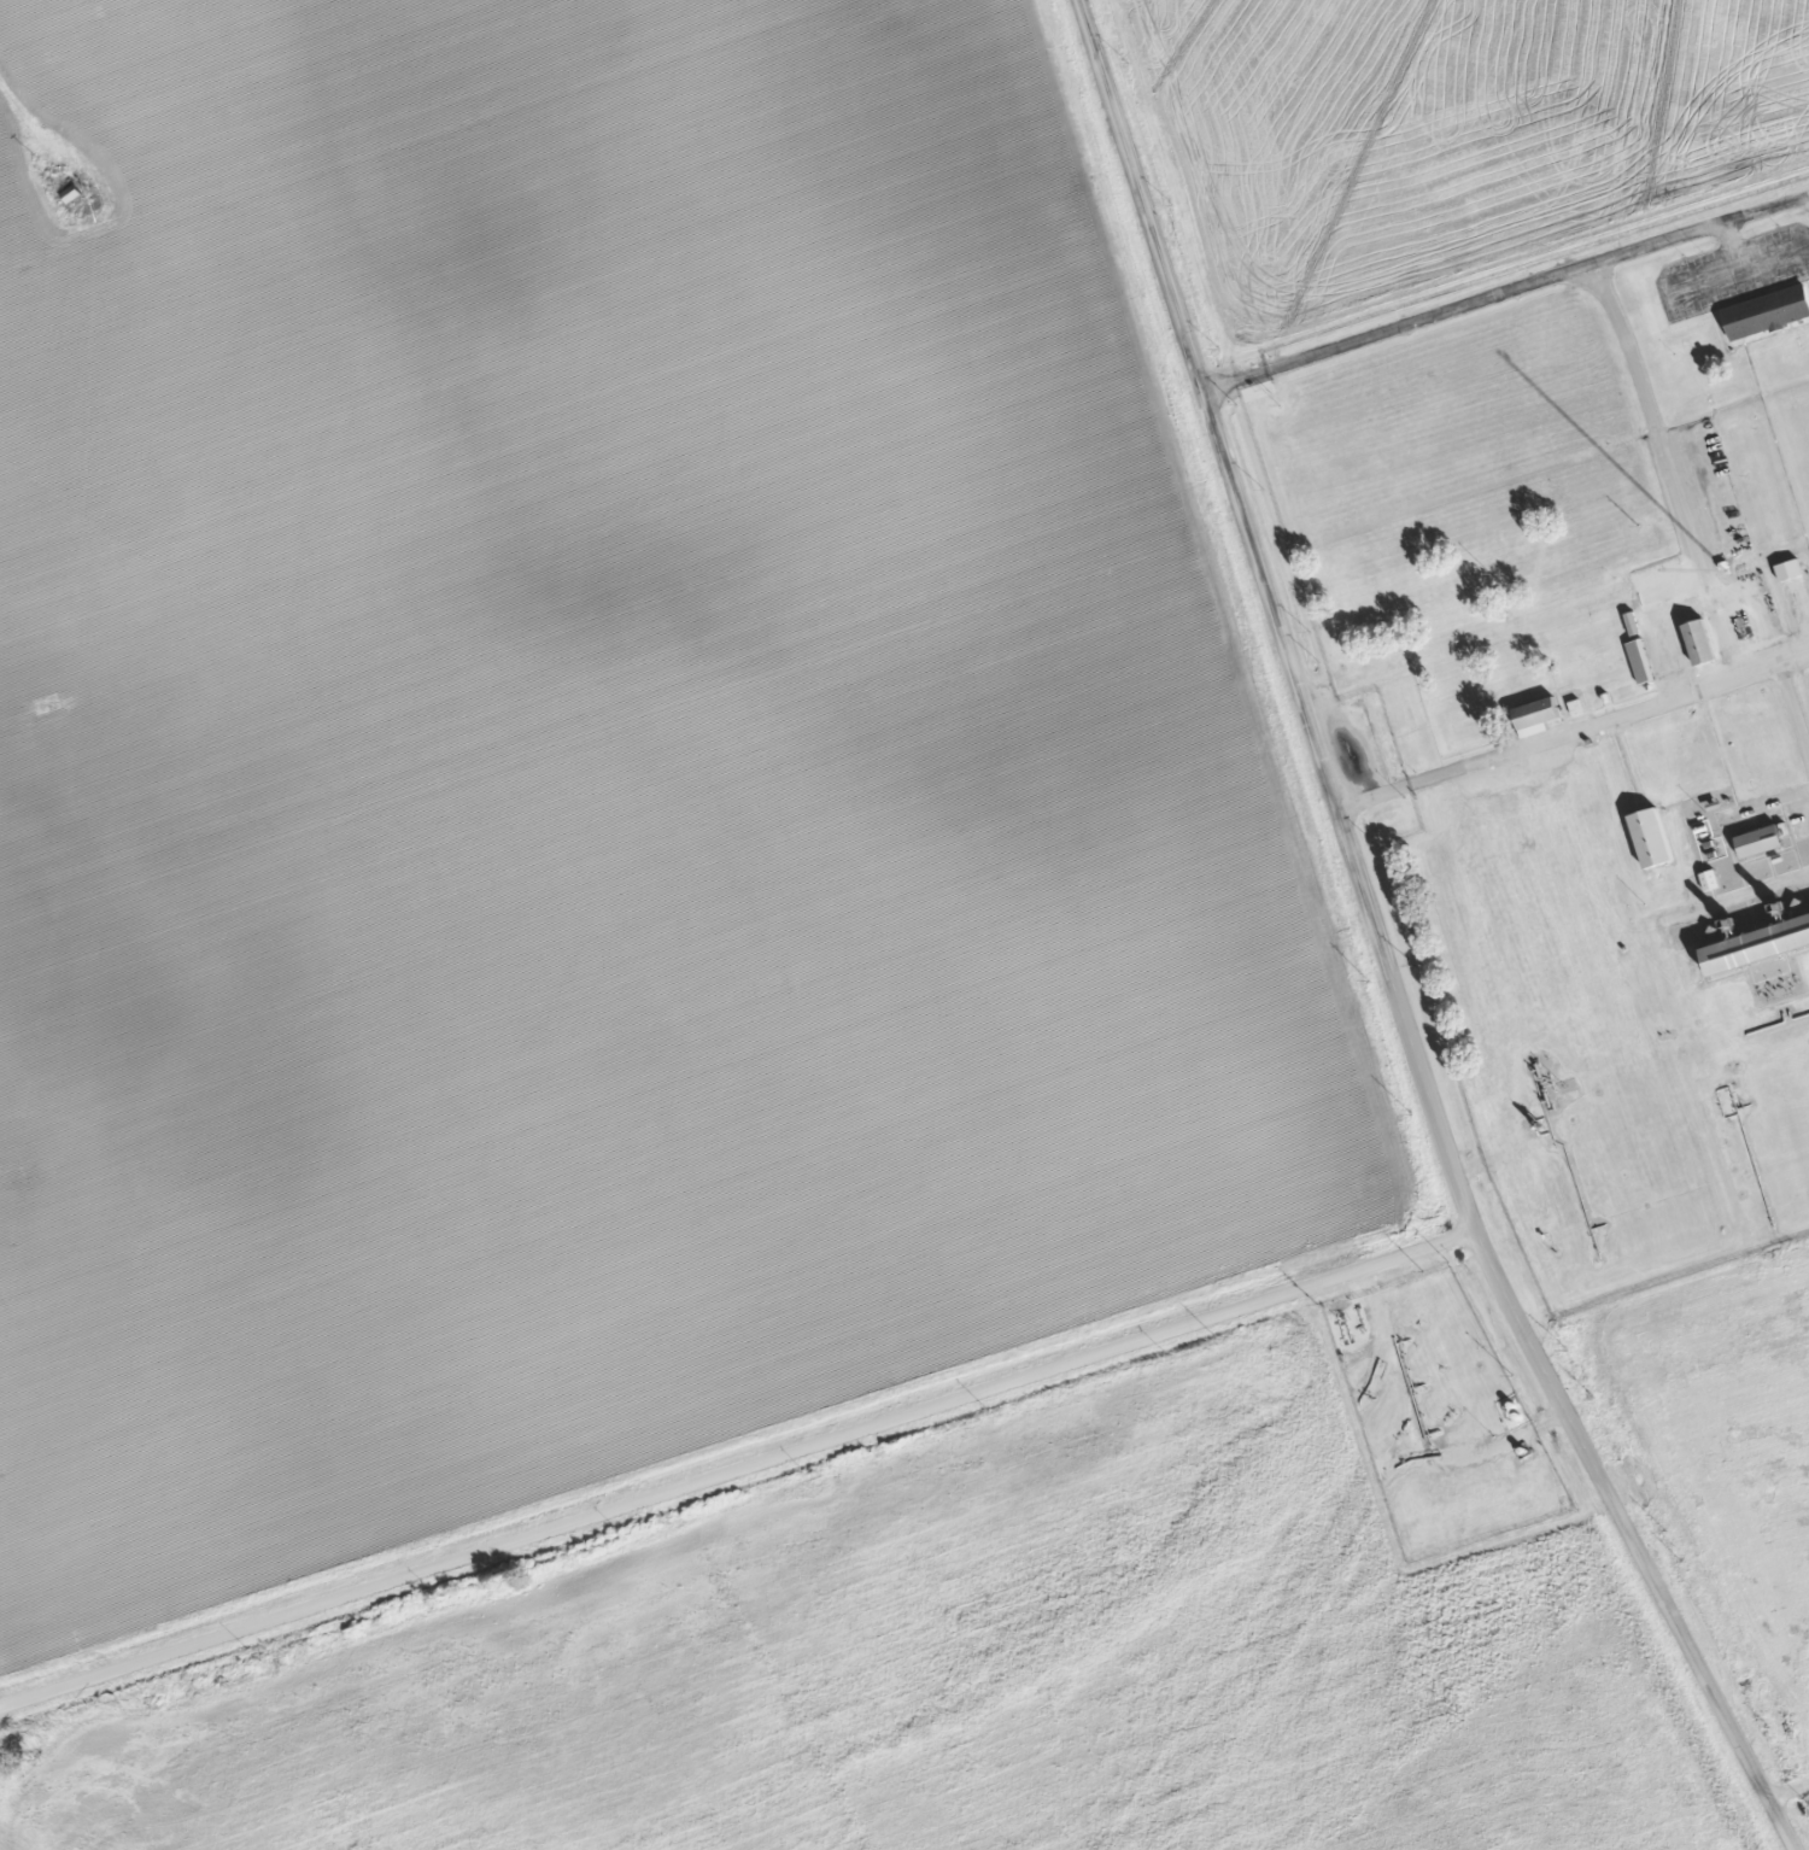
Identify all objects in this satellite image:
road: (1761, 210)
road: (1486, 299)
building: (1766, 318)
building: (1790, 572)
building: (1633, 625)
building: (1699, 644)
road: (1672, 646)
building: (1641, 662)
road: (1741, 666)
road: (1792, 706)
helipad: (1454, 712)
building: (1535, 718)
building: (1650, 839)
building: (1760, 843)
building: (1710, 882)
road: (1380, 948)
building: (1755, 949)
road: (1485, 1436)
road: (736, 1466)

